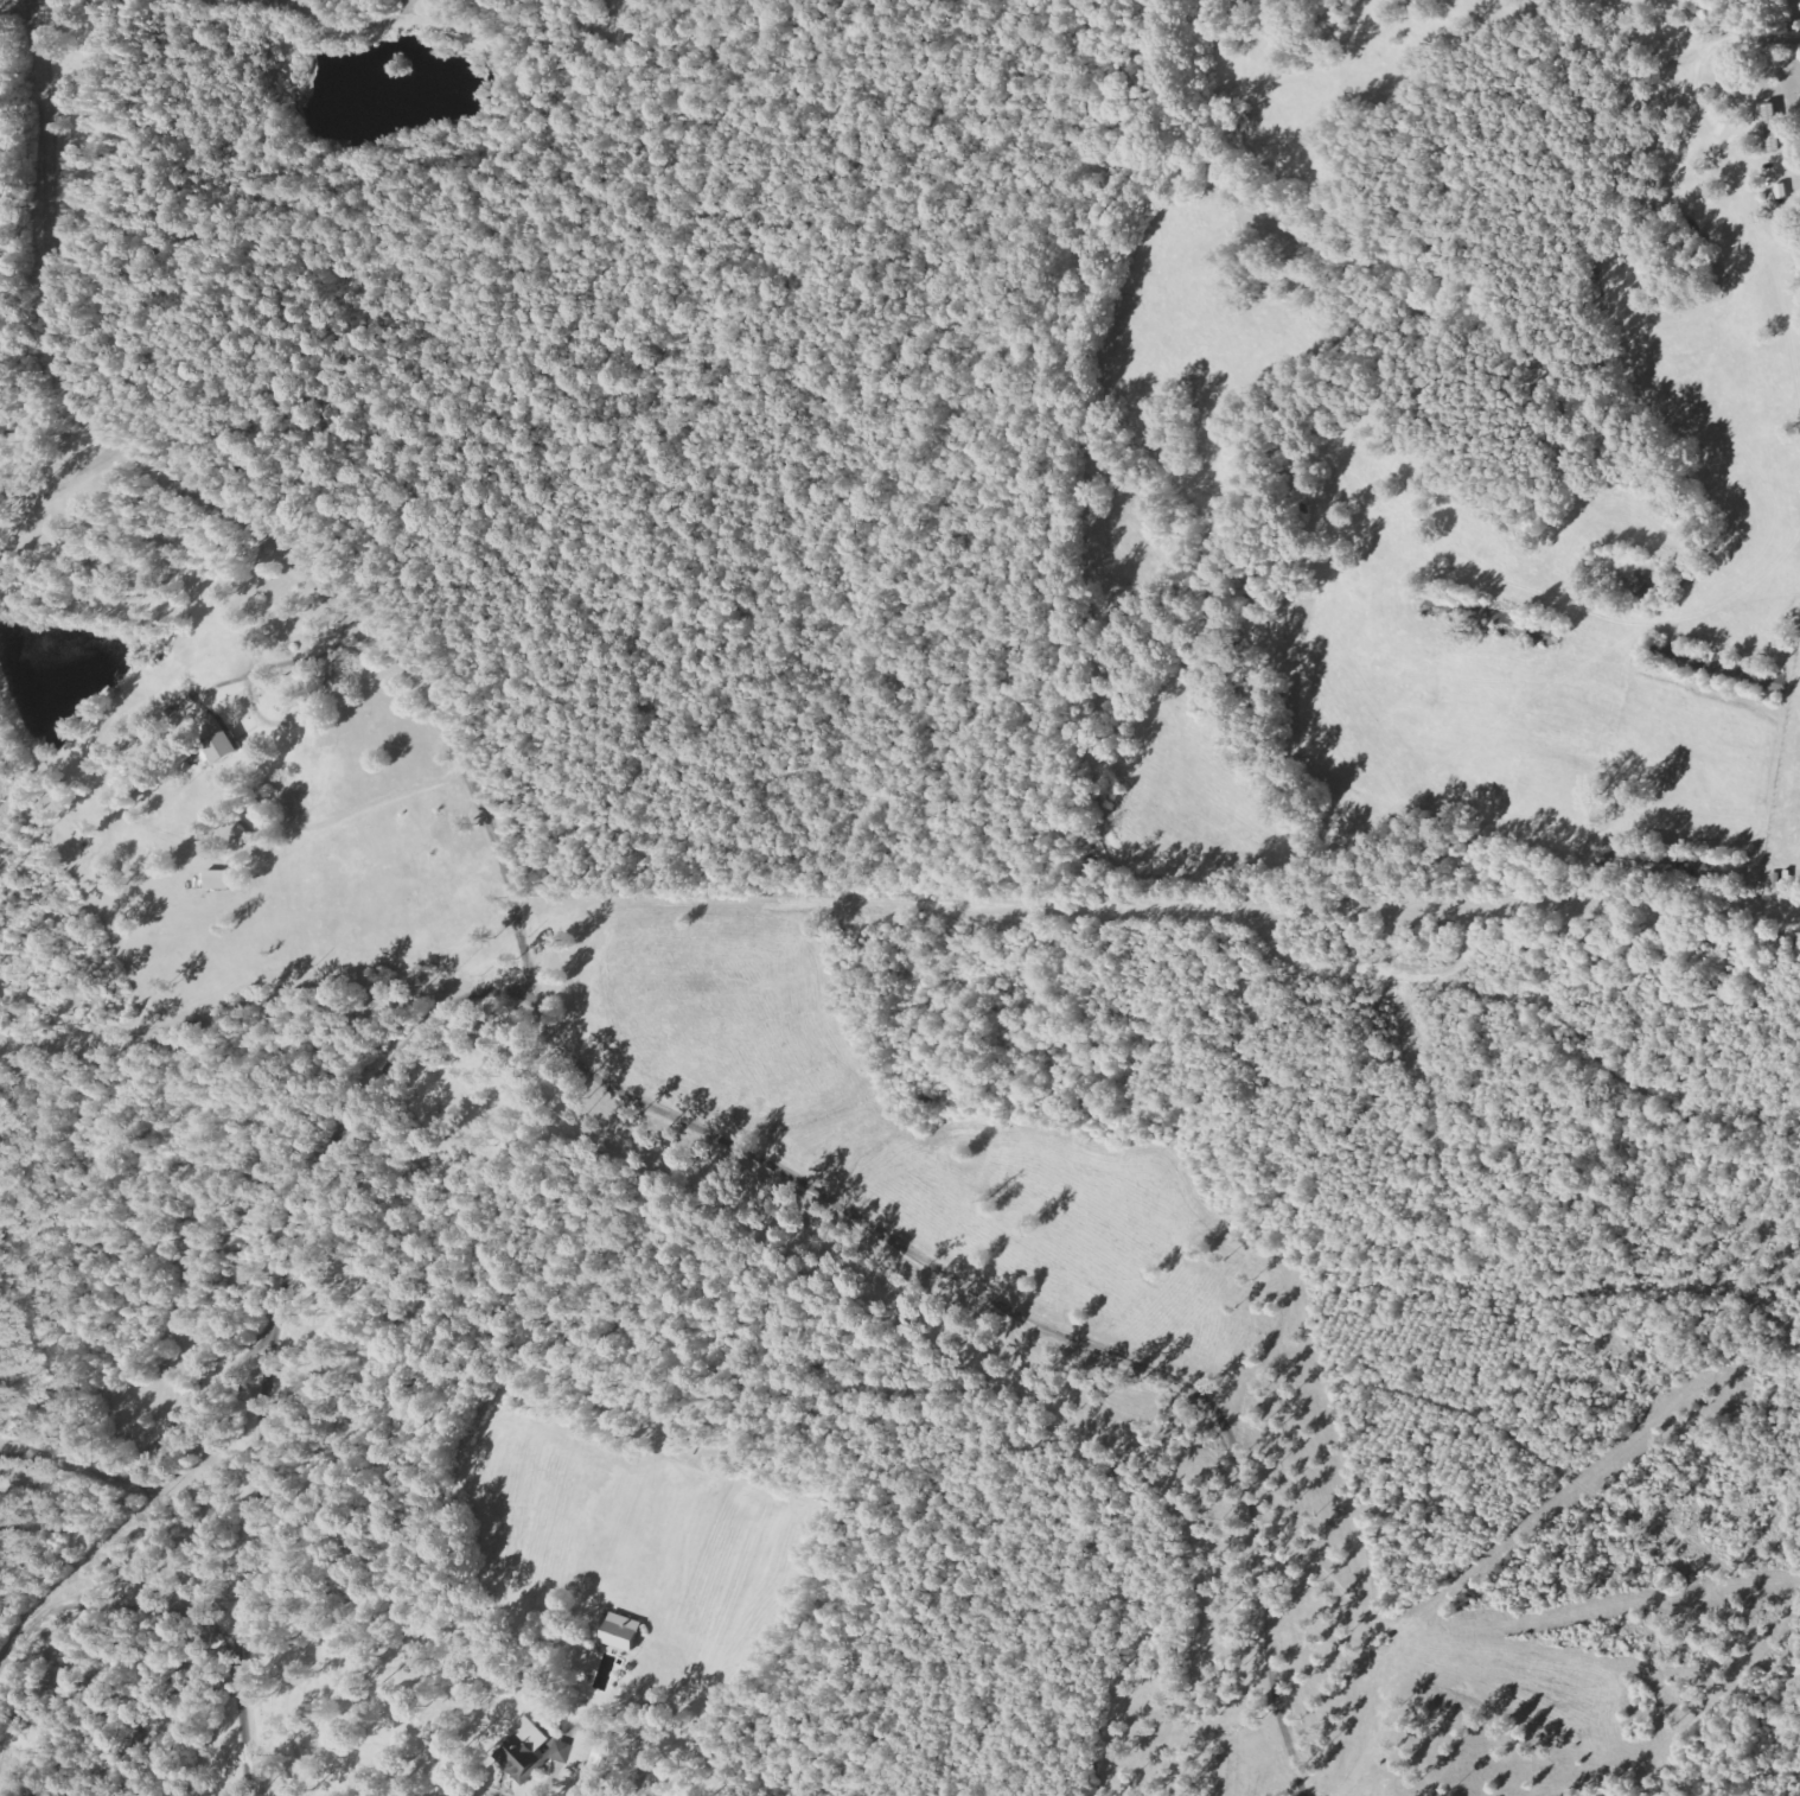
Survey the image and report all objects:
road: (1743, 33)
road: (2, 81)
building: (213, 726)
building: (221, 749)
building: (218, 880)
road: (490, 969)
building: (621, 1631)
building: (561, 1752)

